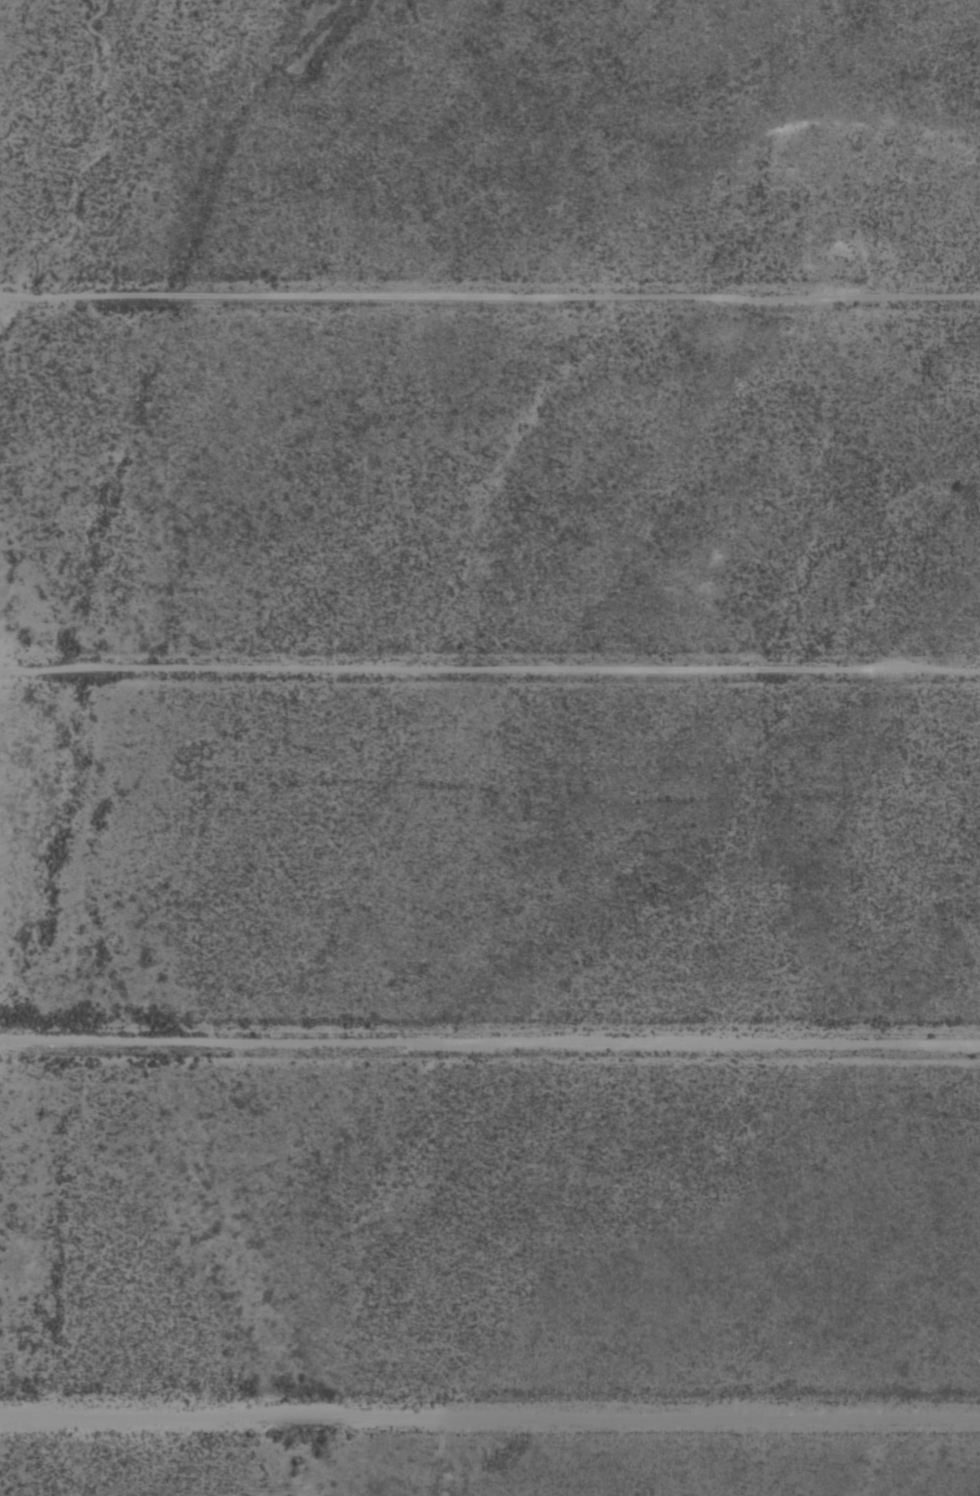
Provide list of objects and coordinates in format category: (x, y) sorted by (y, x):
road: (490, 304)

